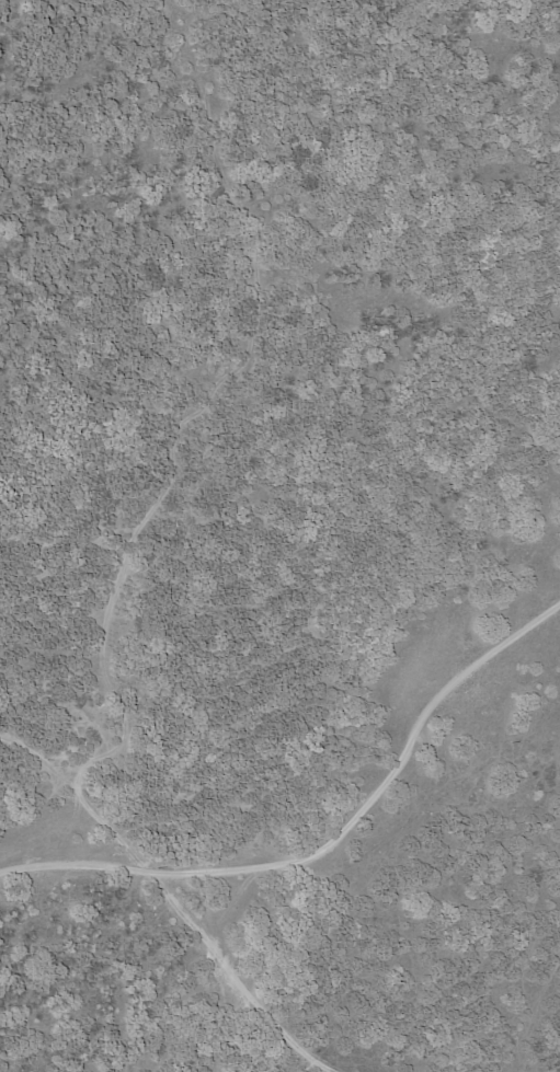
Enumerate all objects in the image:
road: (342, 855)
road: (162, 891)

